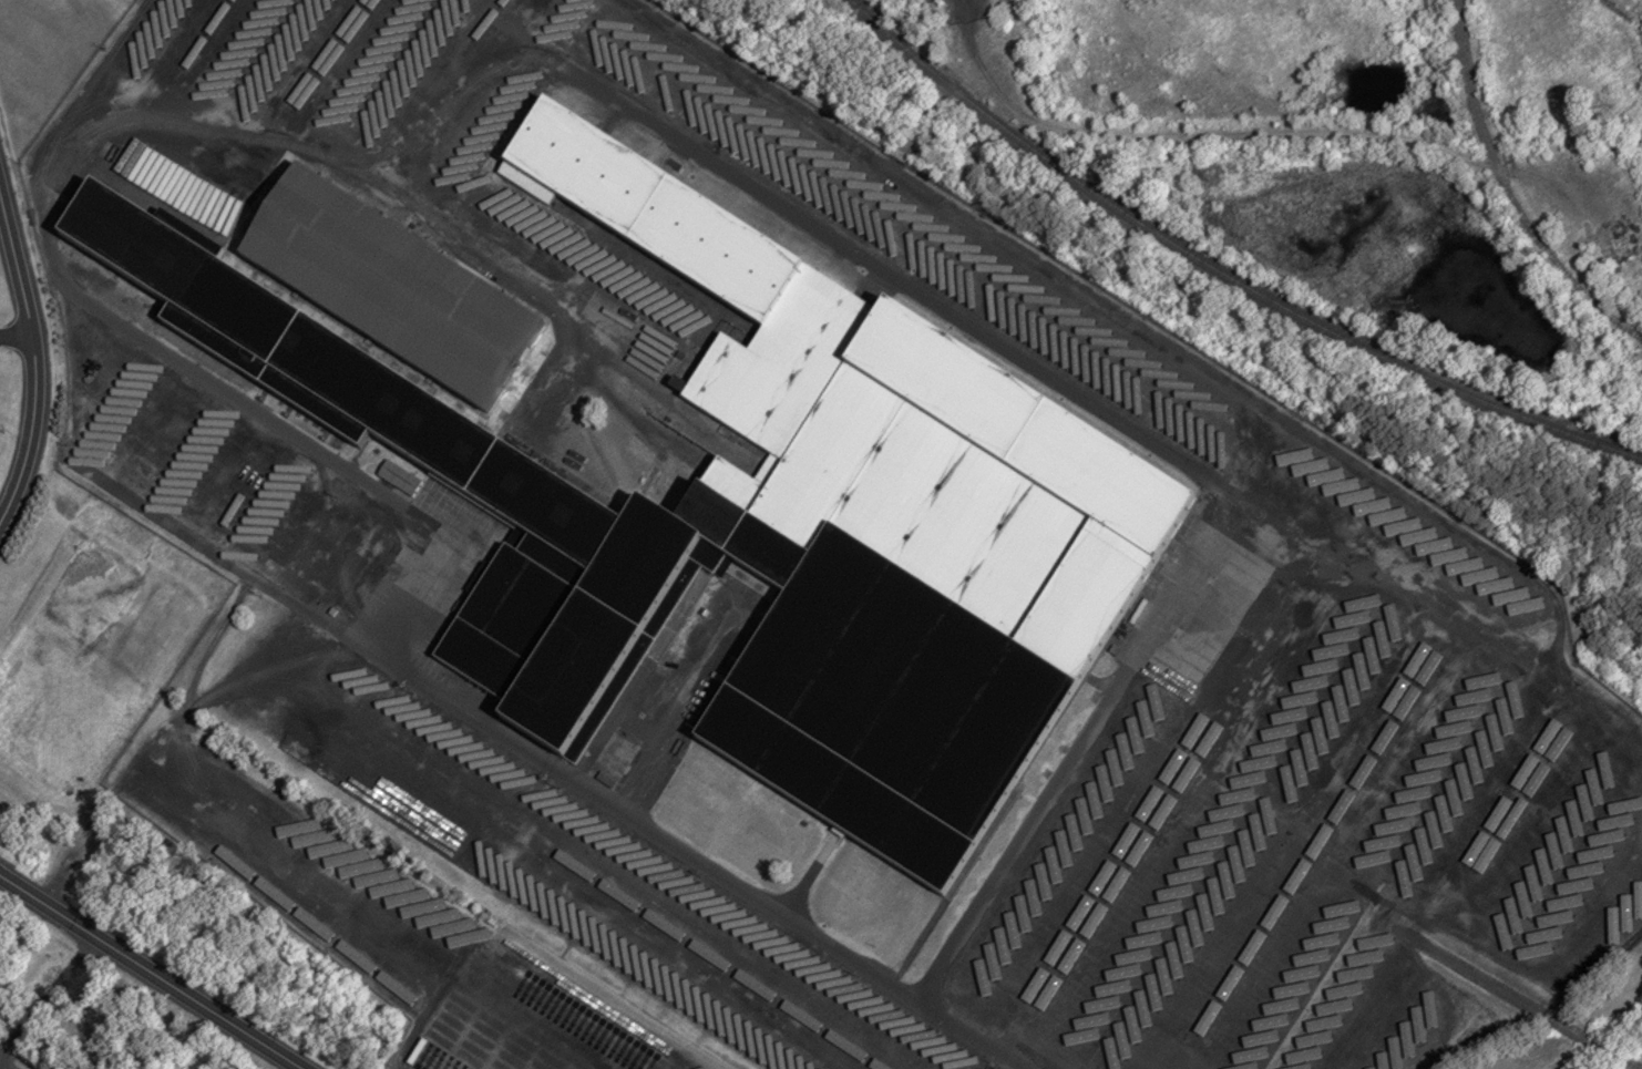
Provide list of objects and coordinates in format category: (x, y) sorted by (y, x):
power plant: (975, 11)
building: (479, 37)
road: (1238, 135)
railway: (1507, 192)
railway: (1221, 271)
building: (391, 286)
road: (16, 340)
railway: (1110, 340)
road: (34, 357)
road: (1097, 411)
building: (113, 436)
building: (96, 463)
building: (757, 518)
railway: (1276, 537)
railway: (1353, 558)
building: (665, 657)
railway: (1619, 662)
building: (358, 692)
building: (1444, 705)
building: (1121, 749)
building: (1561, 756)
road: (544, 764)
building: (560, 816)
building: (1583, 872)
road: (151, 972)
road: (50, 998)
building: (696, 1003)

